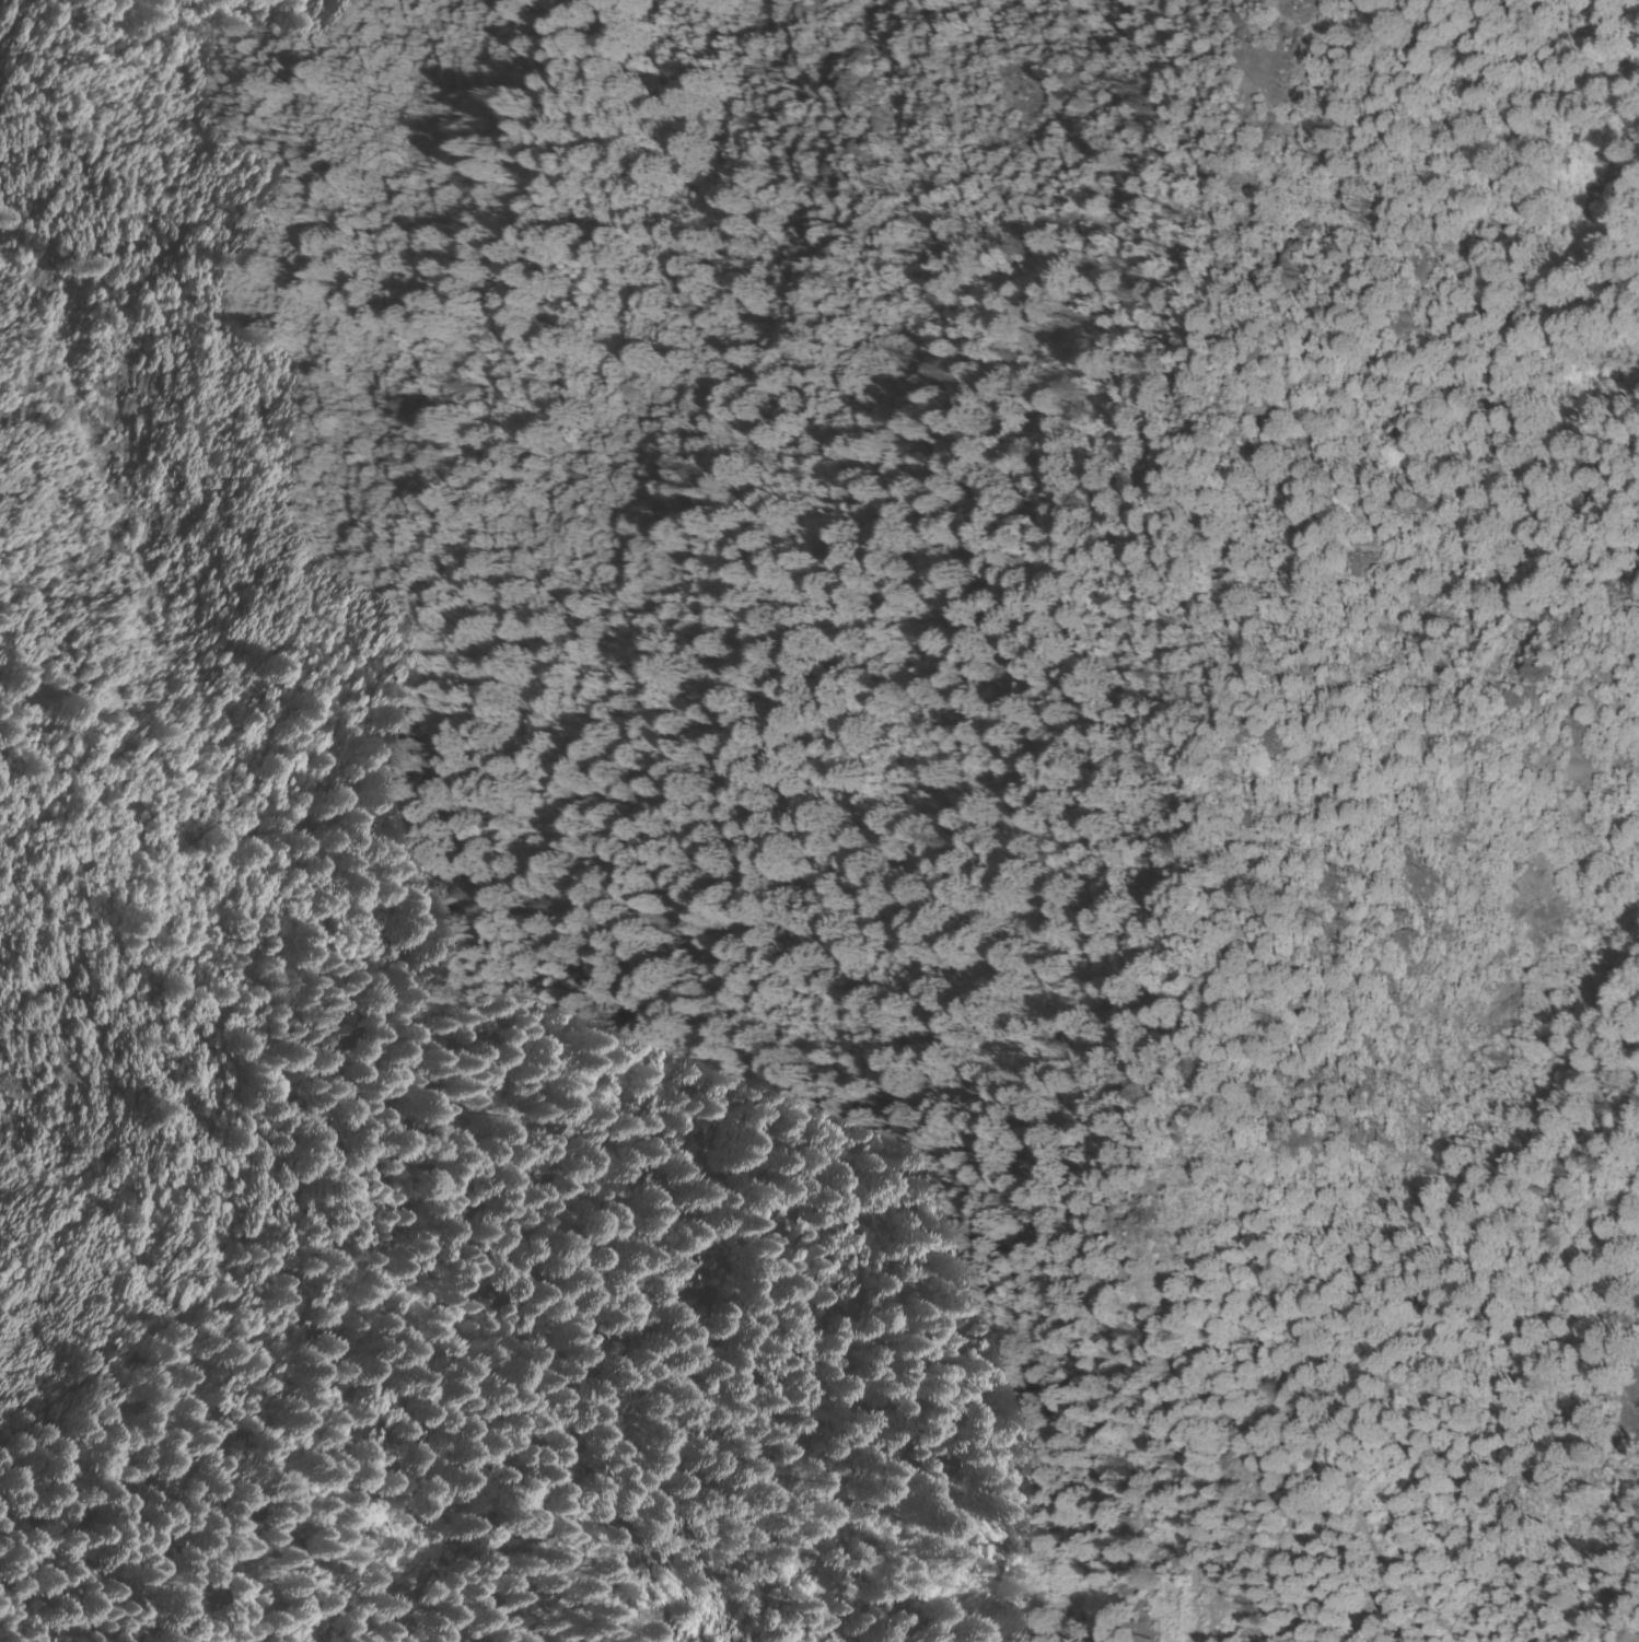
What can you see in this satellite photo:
road: (1188, 1568)

